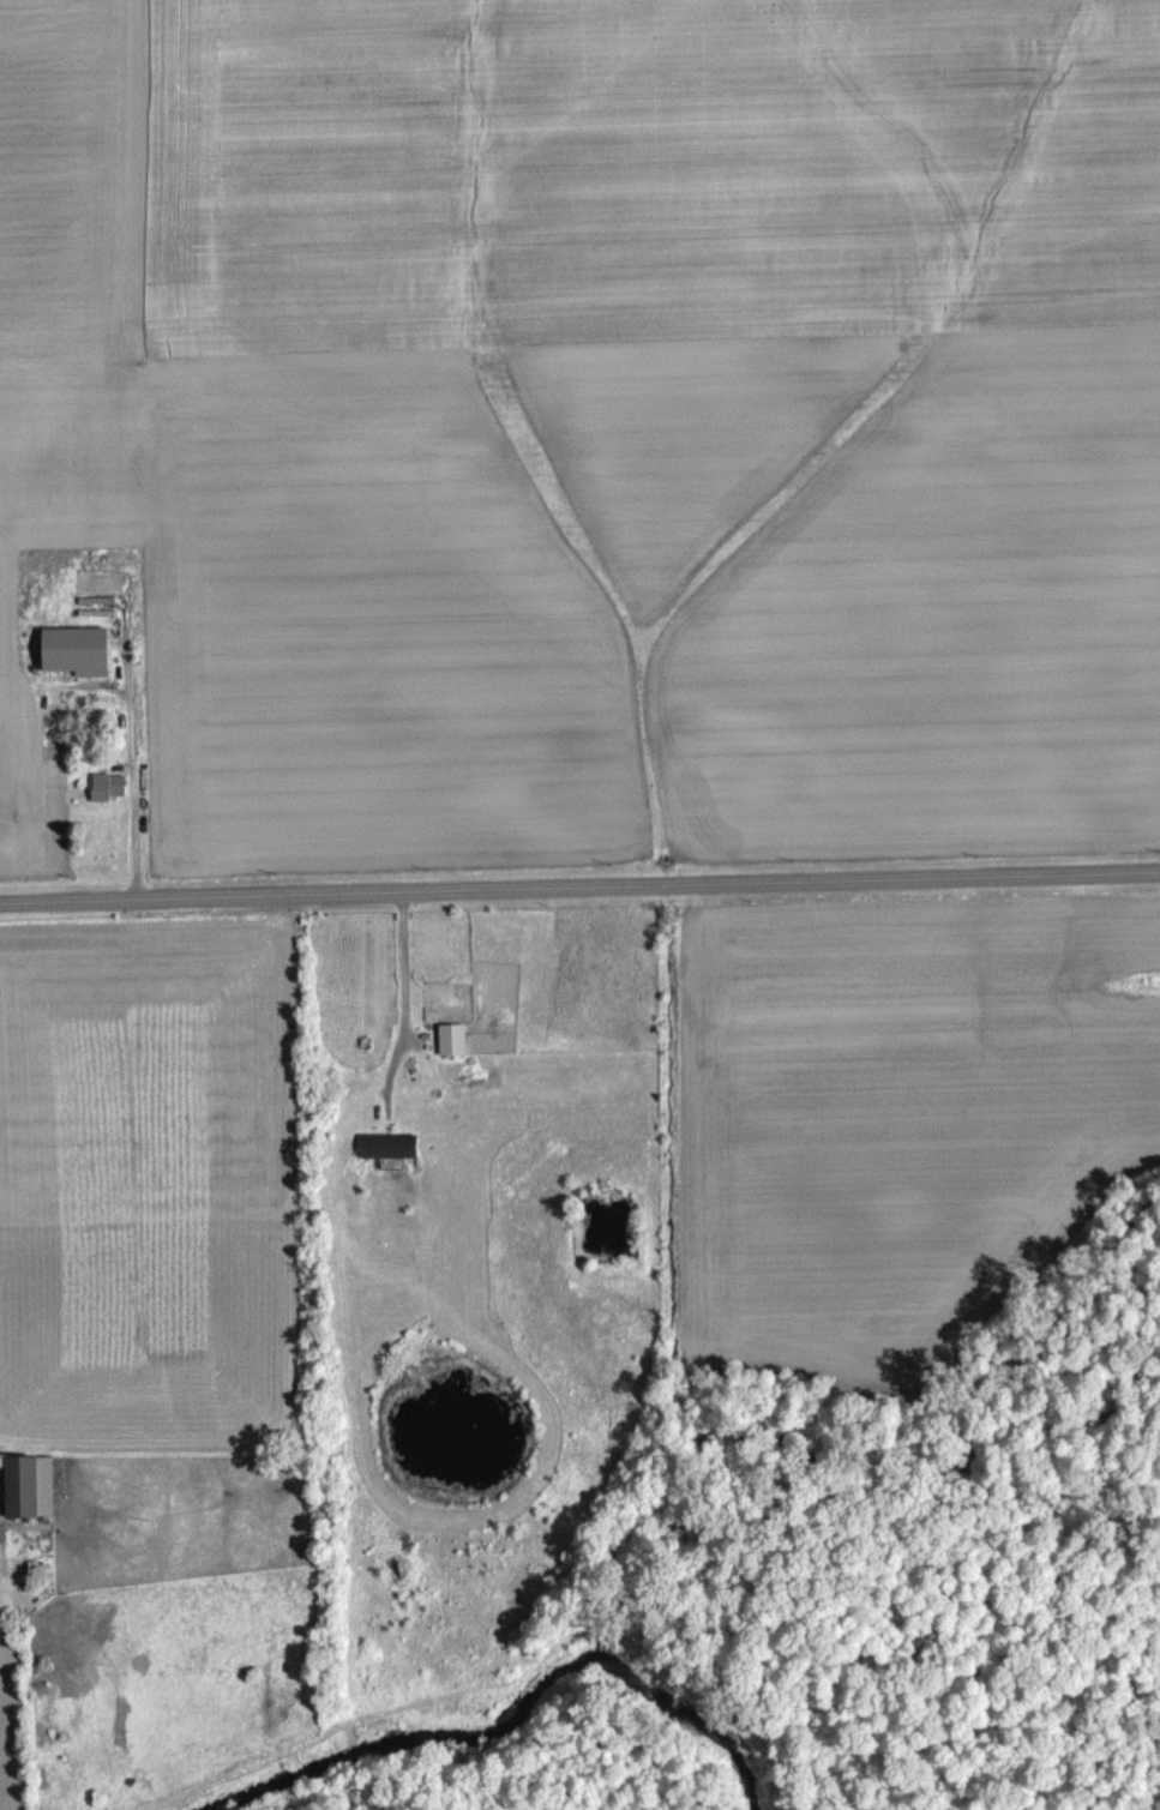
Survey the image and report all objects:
building: (77, 666)
building: (108, 801)
road: (133, 832)
road: (579, 886)
road: (404, 1010)
building: (452, 1054)
building: (389, 1161)
building: (29, 1501)

